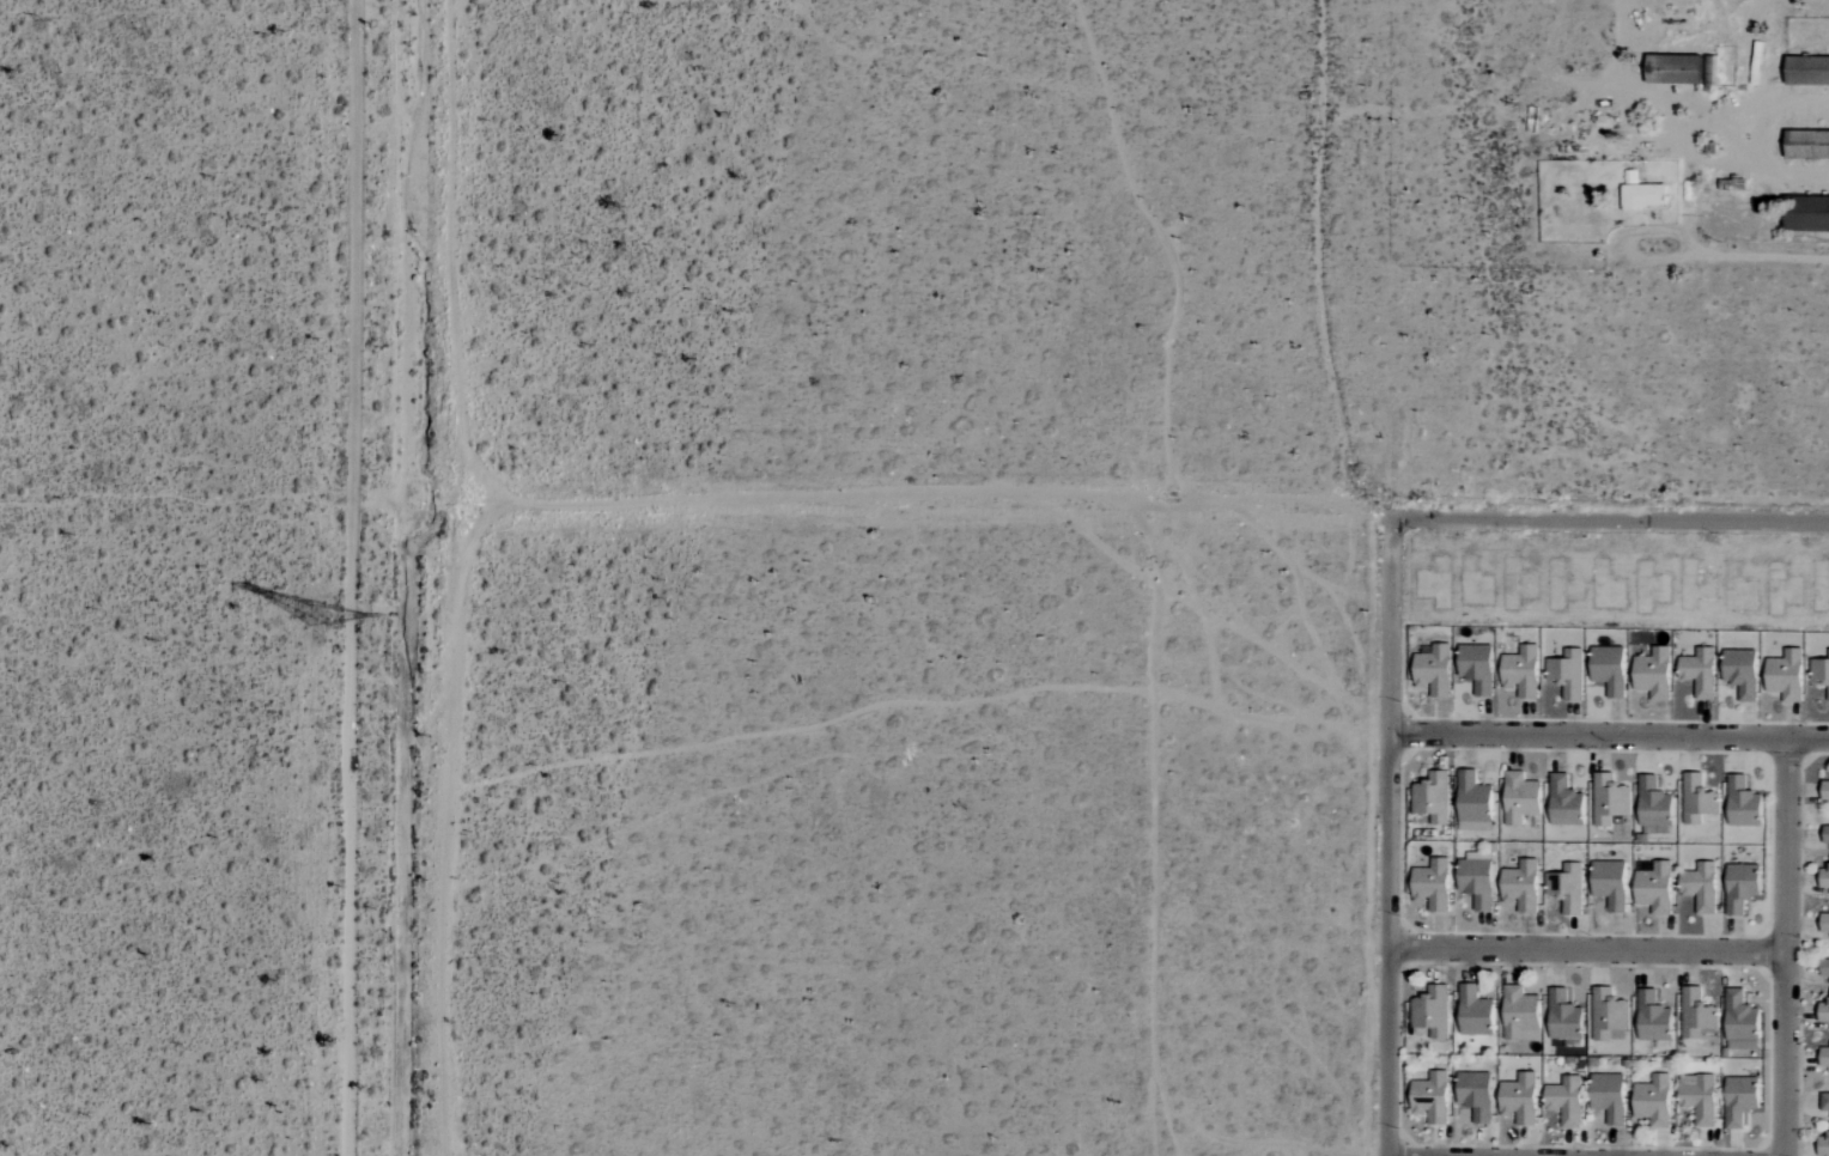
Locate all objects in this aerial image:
building: (1673, 69)
building: (1806, 71)
building: (1806, 145)
building: (1642, 196)
building: (1806, 213)
road: (352, 249)
road: (1369, 260)
road: (1089, 513)
power tower: (322, 627)
building: (1476, 667)
building: (1608, 669)
building: (1433, 670)
building: (1520, 670)
building: (1819, 671)
building: (1567, 673)
building: (1653, 673)
building: (1699, 673)
building: (1740, 673)
building: (1786, 675)
road: (1609, 735)
building: (1824, 790)
building: (1432, 797)
building: (1520, 797)
building: (1697, 798)
building: (1609, 799)
building: (1472, 802)
building: (1564, 802)
building: (1743, 802)
building: (1653, 803)
road: (367, 827)
building: (1825, 834)
road: (1389, 838)
building: (1824, 878)
building: (1476, 882)
building: (1432, 883)
building: (1609, 883)
building: (1520, 886)
building: (1654, 887)
building: (1700, 887)
building: (1739, 887)
building: (1568, 888)
building: (1824, 923)
road: (1787, 945)
road: (1587, 948)
building: (1824, 968)
building: (1432, 1011)
building: (1473, 1011)
building: (1823, 1012)
building: (1520, 1014)
building: (1609, 1015)
building: (1697, 1015)
building: (1563, 1016)
building: (1739, 1016)
building: (1652, 1017)
building: (1824, 1057)
building: (1475, 1095)
building: (1609, 1096)
building: (1430, 1097)
building: (1699, 1097)
building: (1519, 1099)
building: (1653, 1100)
building: (1739, 1100)
building: (1564, 1101)
building: (1824, 1102)
building: (1823, 1146)

